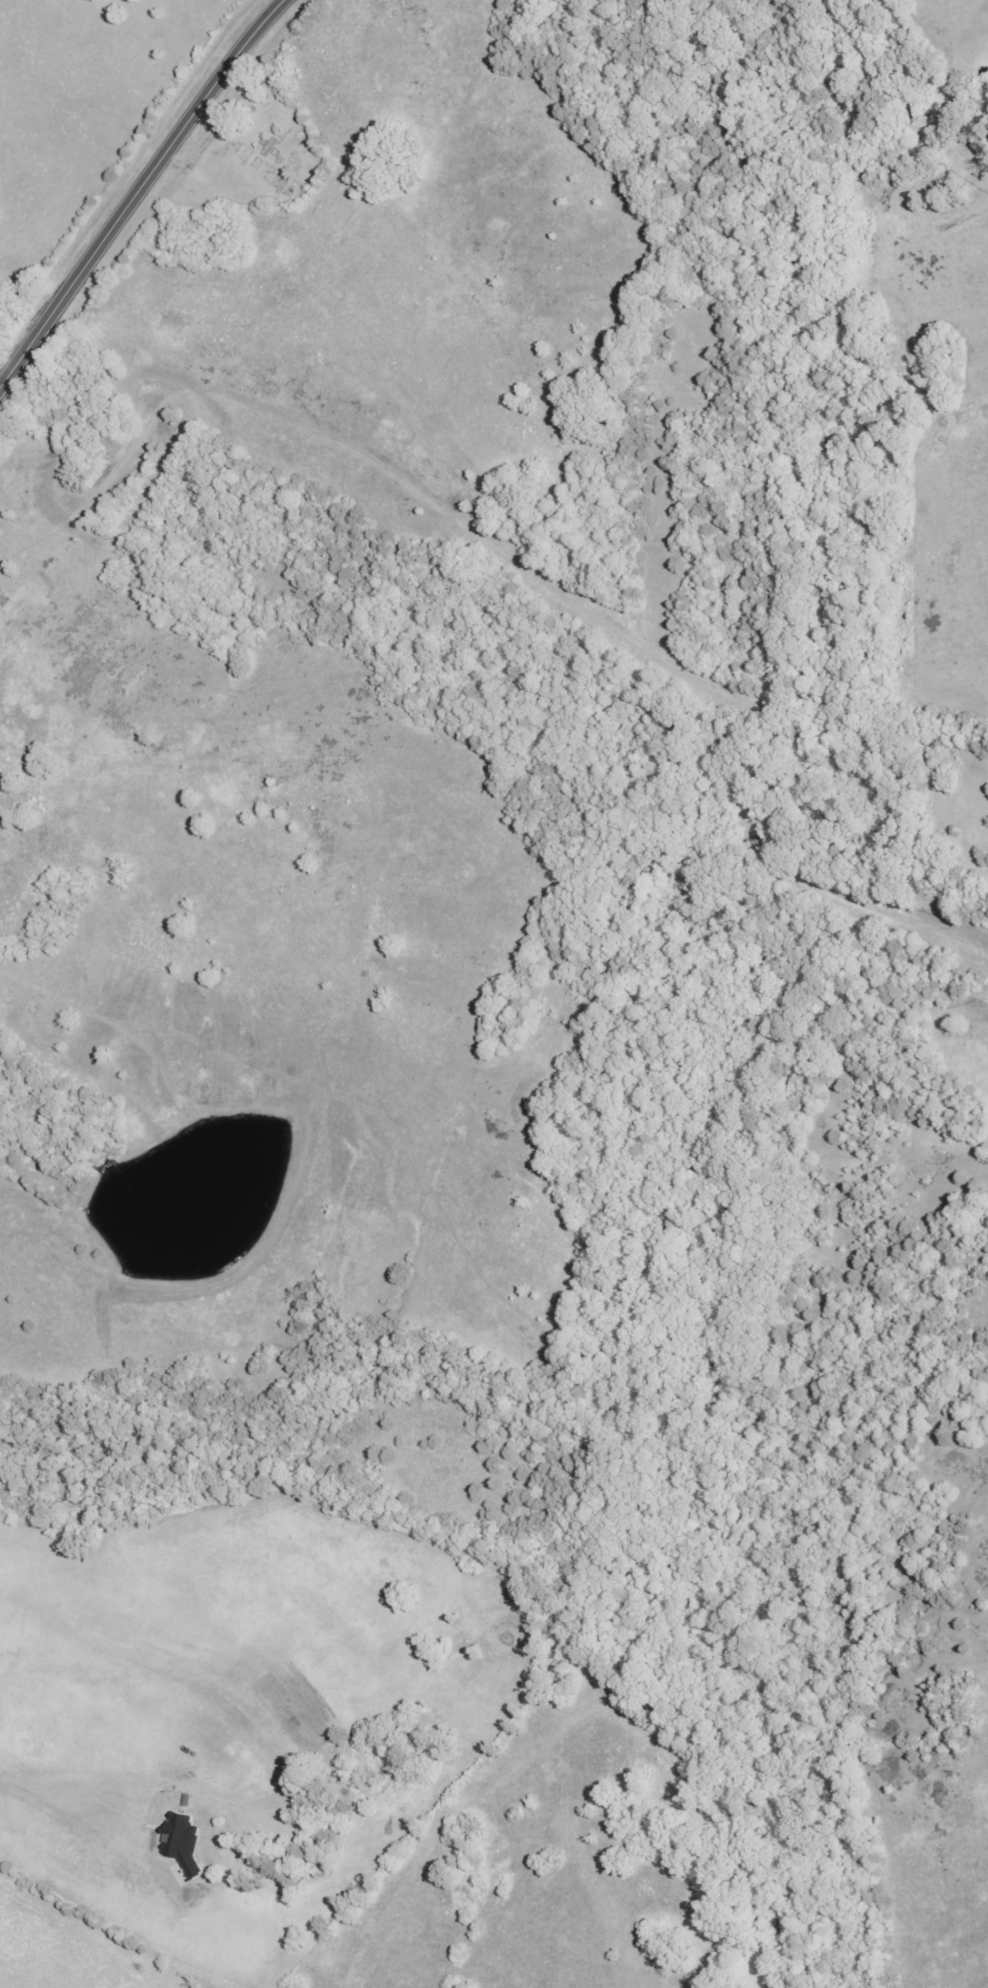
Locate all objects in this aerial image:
park: (257, 157)
road: (139, 193)
road: (64, 1809)
building: (185, 1842)

